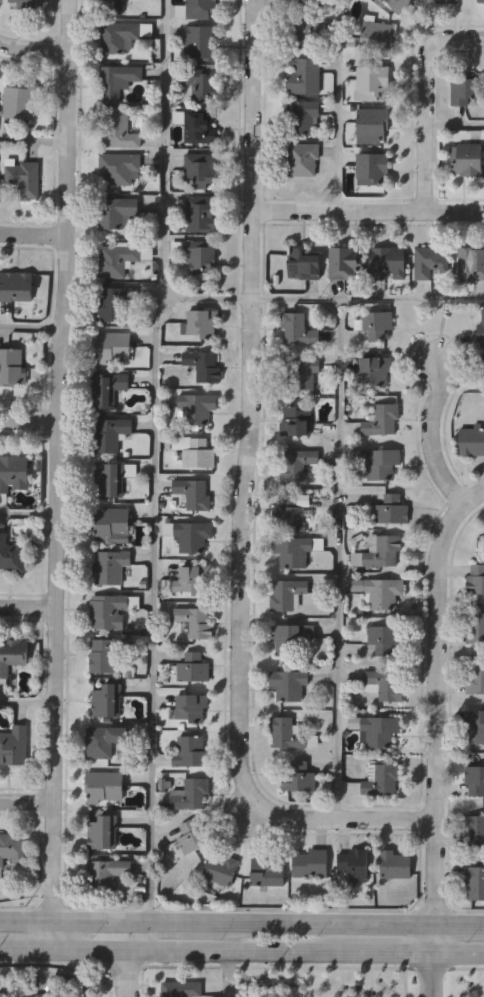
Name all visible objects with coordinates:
building: (447, 1)
building: (481, 1)
building: (27, 3)
building: (306, 3)
building: (401, 5)
building: (113, 6)
building: (201, 8)
building: (306, 31)
building: (120, 35)
building: (378, 35)
building: (202, 40)
road: (33, 48)
building: (305, 74)
building: (120, 79)
building: (374, 81)
building: (203, 82)
building: (467, 88)
building: (21, 101)
road: (426, 101)
road: (340, 105)
building: (303, 115)
building: (375, 121)
building: (200, 126)
road: (455, 128)
building: (121, 130)
road: (33, 142)
building: (304, 158)
building: (470, 159)
building: (120, 167)
building: (201, 167)
building: (373, 167)
building: (24, 177)
road: (368, 211)
building: (117, 212)
building: (202, 212)
road: (32, 234)
building: (202, 255)
building: (118, 260)
building: (346, 261)
building: (389, 261)
building: (432, 261)
building: (305, 263)
building: (472, 263)
building: (16, 285)
road: (325, 300)
building: (116, 302)
building: (202, 322)
building: (378, 323)
building: (299, 328)
building: (481, 329)
road: (30, 330)
building: (113, 345)
building: (482, 356)
building: (205, 364)
building: (13, 369)
building: (376, 370)
building: (301, 371)
building: (108, 388)
building: (197, 407)
building: (383, 419)
road: (28, 421)
building: (297, 421)
building: (112, 433)
road: (429, 433)
building: (472, 440)
building: (200, 455)
road: (155, 460)
building: (382, 462)
building: (299, 463)
building: (14, 473)
road: (56, 475)
building: (114, 478)
building: (194, 492)
road: (242, 494)
building: (391, 510)
building: (290, 511)
road: (27, 517)
building: (112, 525)
building: (192, 535)
building: (296, 550)
building: (377, 551)
building: (12, 554)
road: (341, 559)
building: (108, 566)
building: (192, 579)
building: (475, 579)
building: (379, 592)
building: (286, 594)
road: (28, 606)
building: (106, 611)
building: (193, 621)
building: (475, 626)
building: (291, 638)
building: (383, 638)
building: (13, 653)
building: (105, 653)
building: (192, 666)
building: (476, 676)
building: (289, 684)
building: (385, 685)
building: (106, 699)
road: (27, 701)
building: (189, 707)
road: (436, 711)
building: (476, 724)
building: (380, 730)
building: (286, 733)
building: (103, 738)
building: (14, 745)
building: (189, 751)
building: (300, 776)
building: (382, 779)
building: (475, 779)
building: (105, 784)
building: (190, 793)
road: (26, 800)
building: (474, 830)
building: (104, 831)
building: (193, 836)
building: (13, 847)
building: (310, 863)
building: (394, 863)
building: (353, 864)
building: (219, 869)
building: (266, 871)
building: (105, 874)
building: (475, 881)
road: (25, 894)
road: (241, 922)
road: (149, 937)
road: (25, 951)
road: (393, 953)
road: (459, 953)
road: (200, 954)
road: (230, 975)
road: (434, 975)
road: (127, 976)
building: (181, 988)
building: (2, 994)
building: (43, 995)

